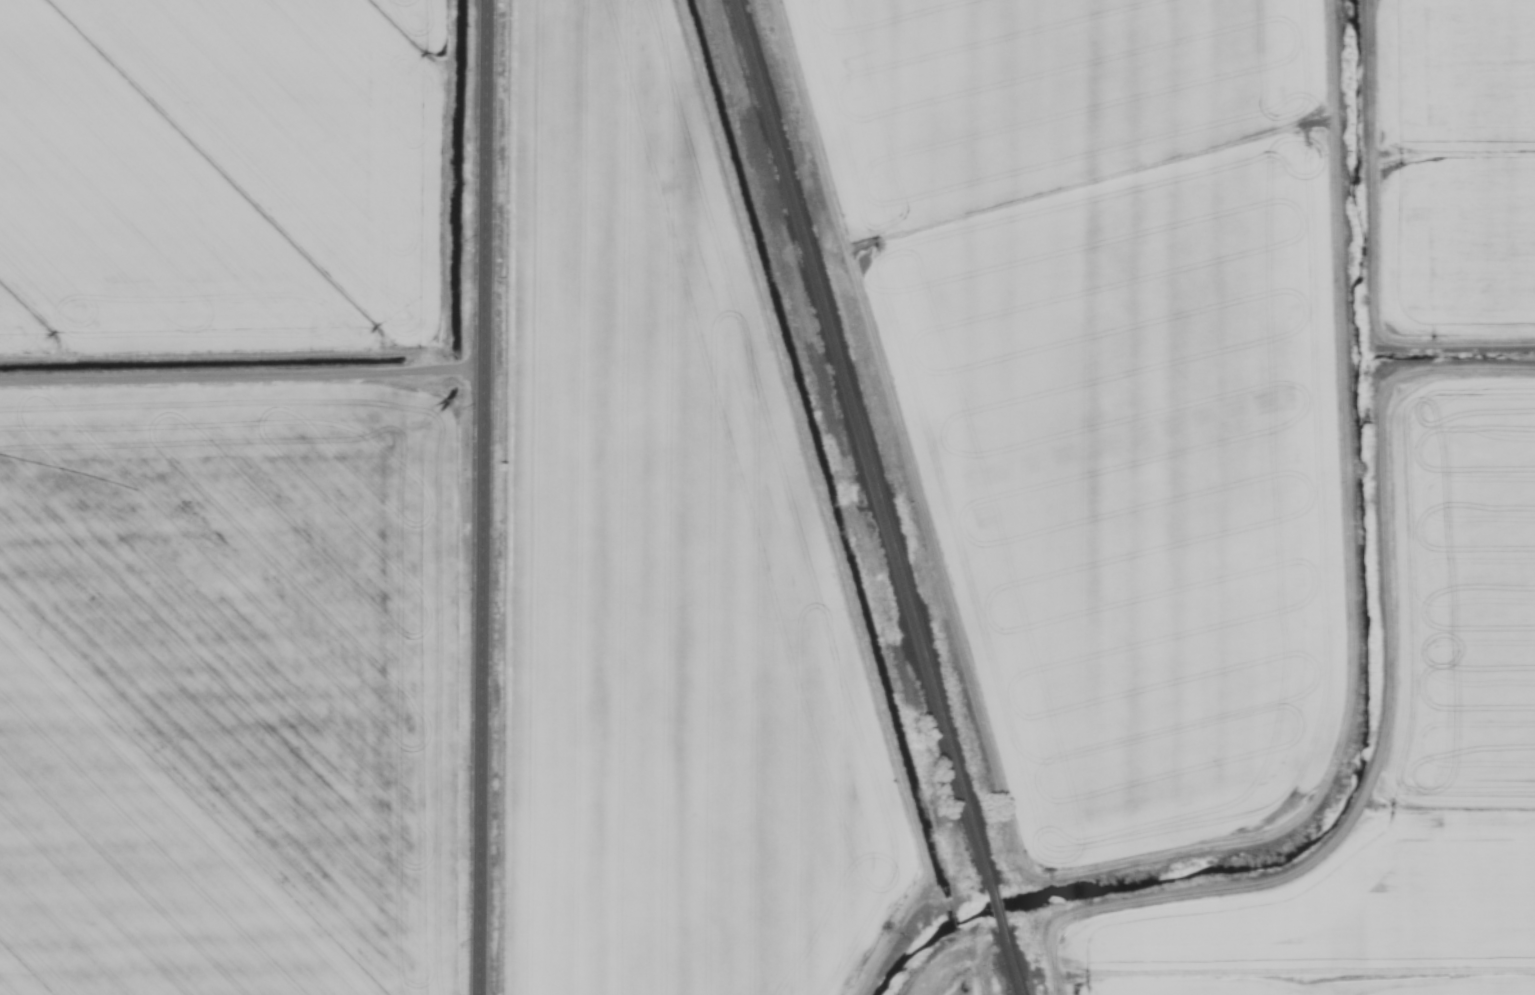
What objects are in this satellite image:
railway: (859, 443)
road: (488, 497)
railway: (993, 910)
railway: (1008, 964)

